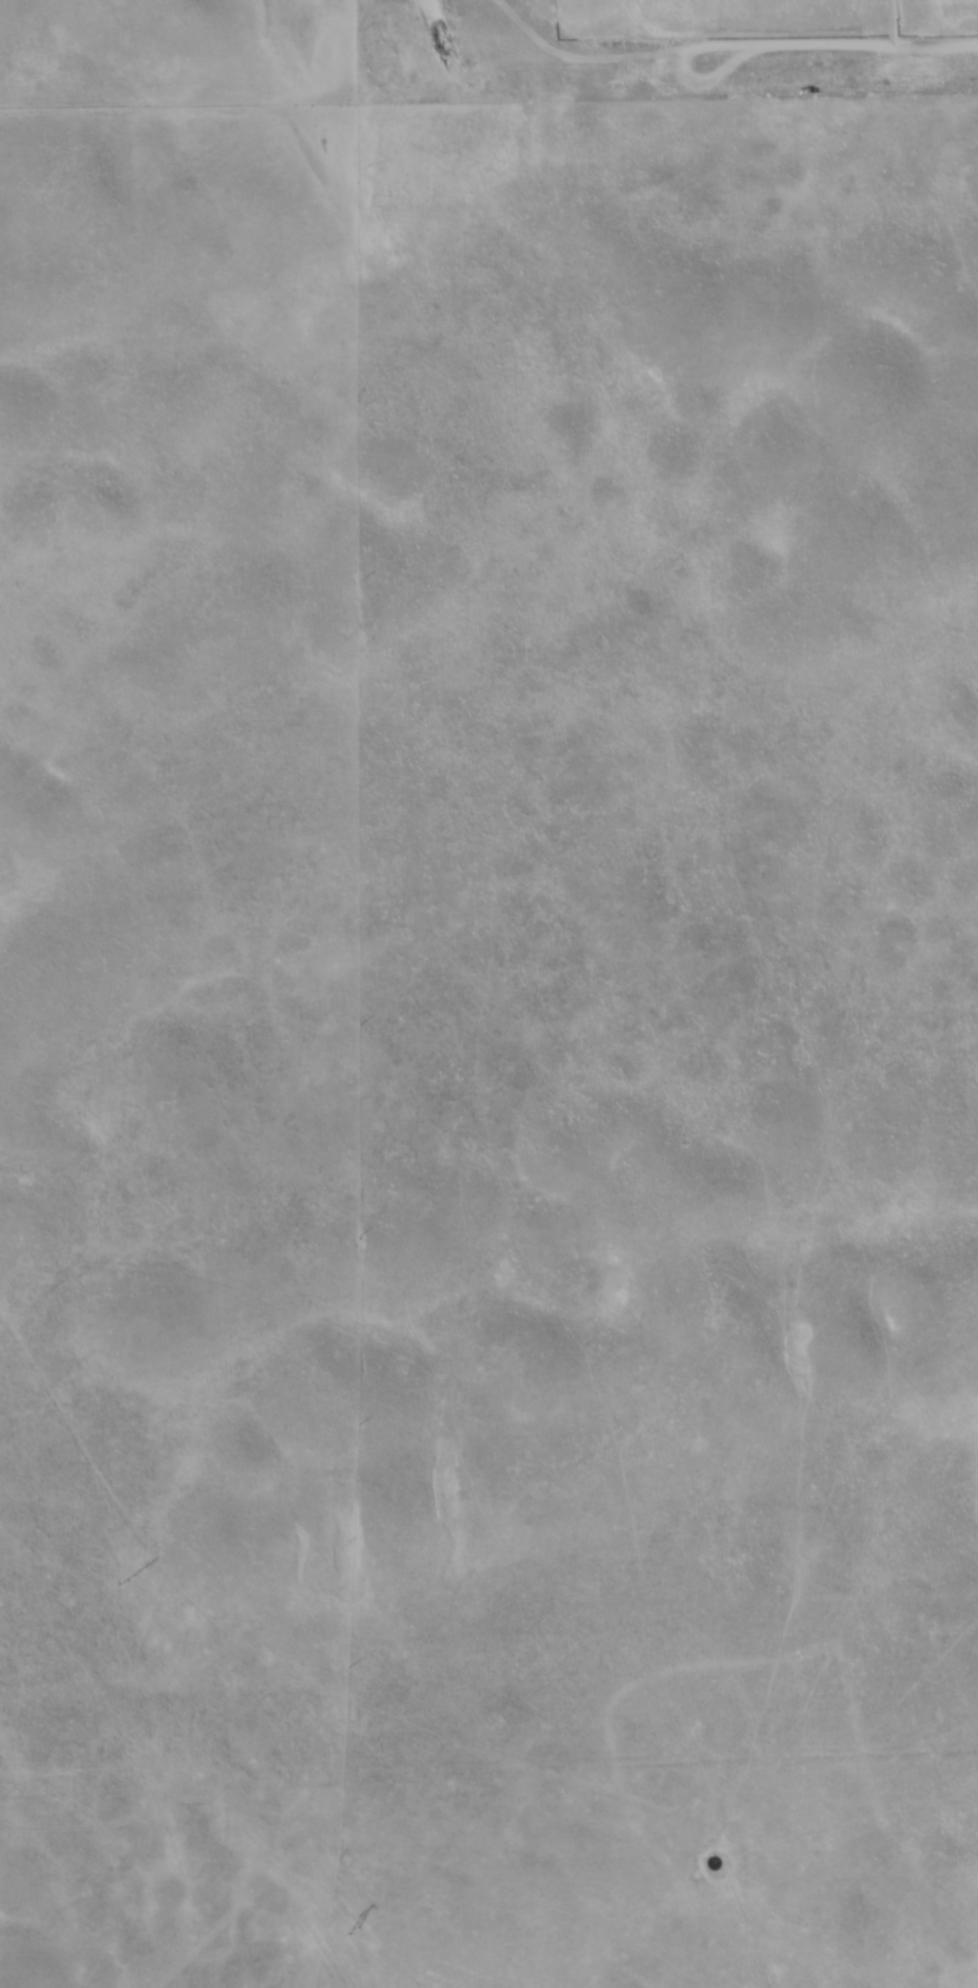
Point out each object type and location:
power tower: (128, 1581)
power tower: (358, 1928)

